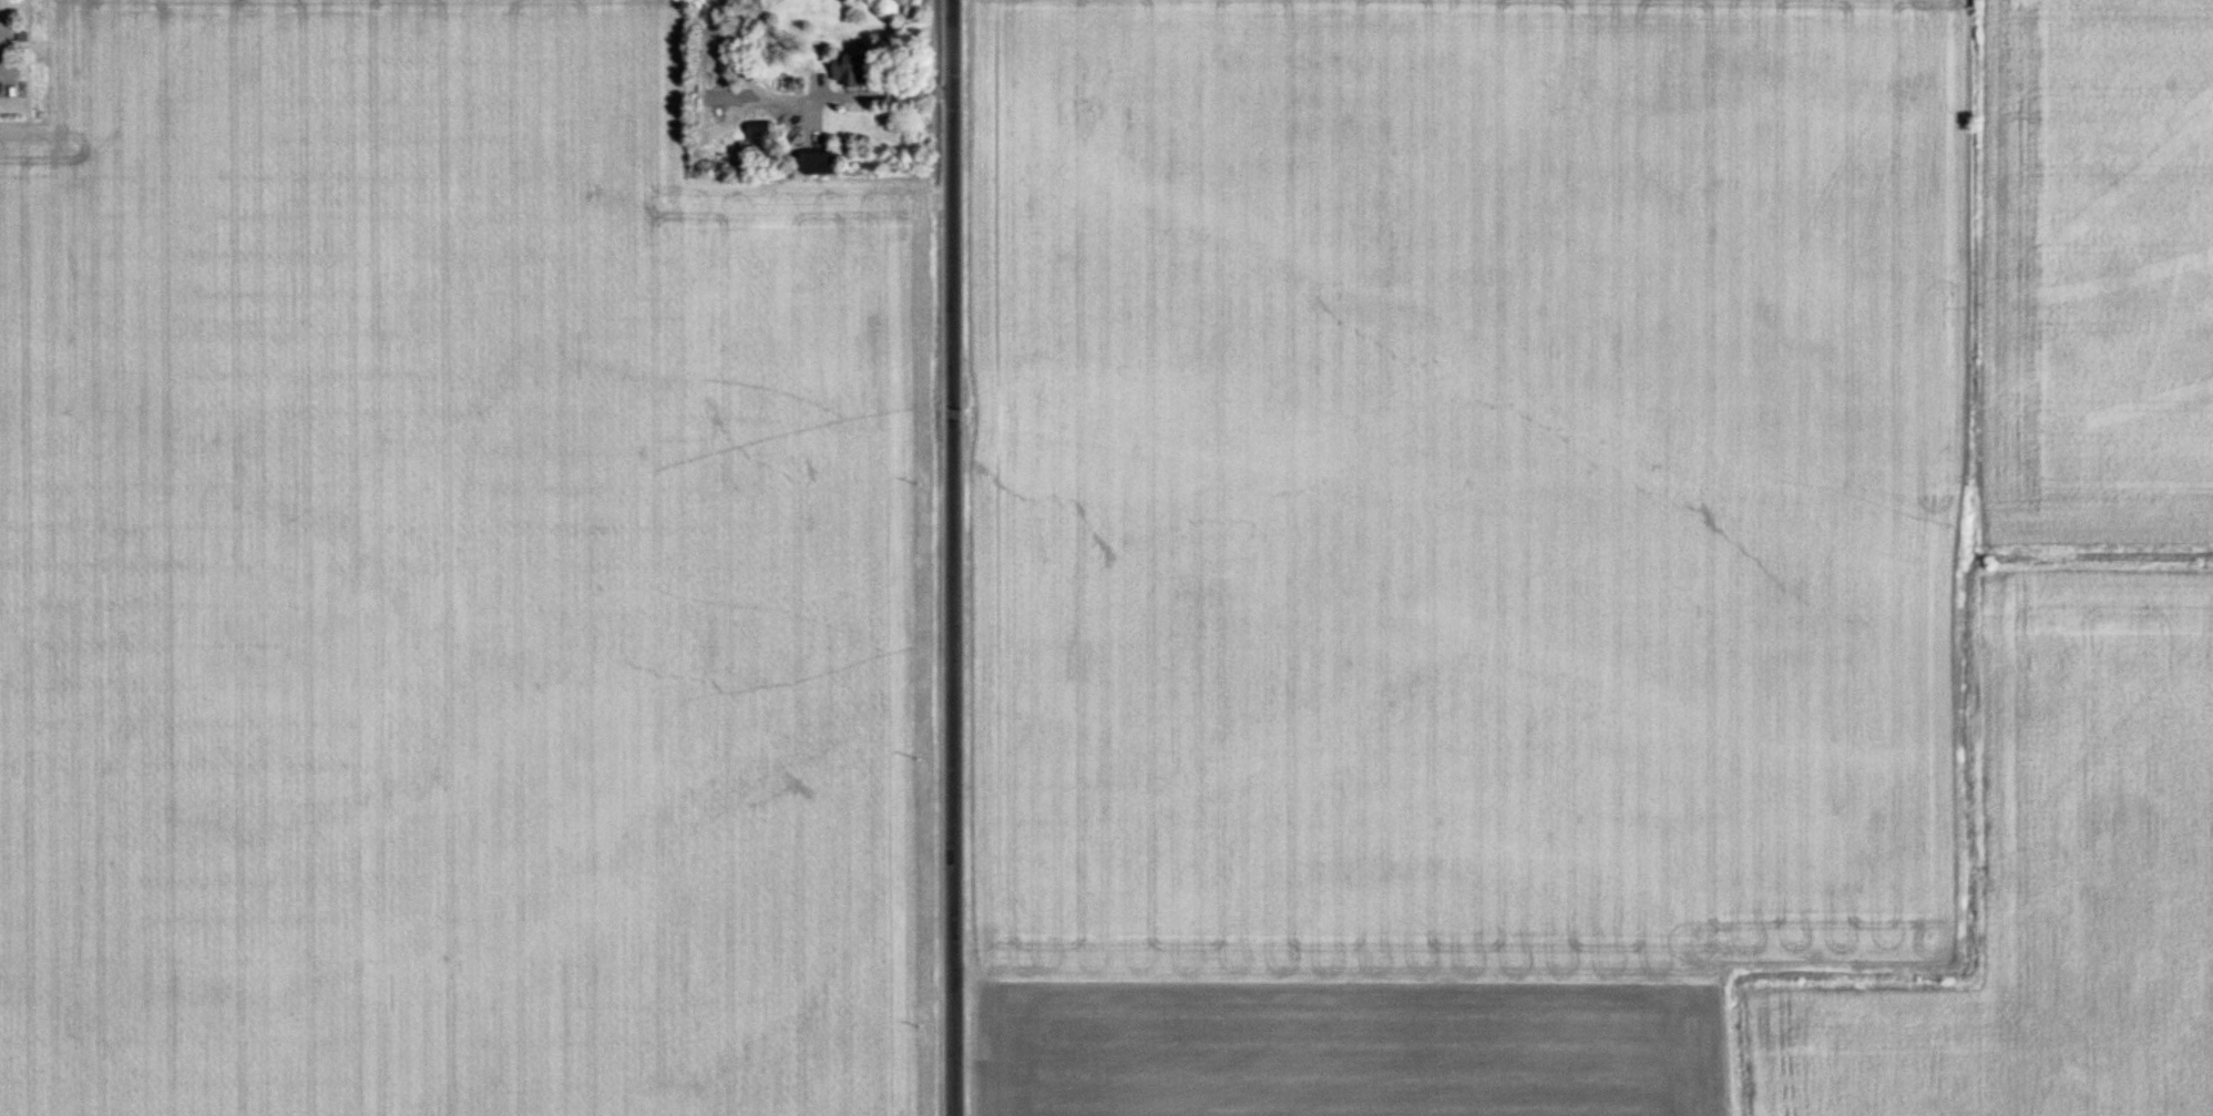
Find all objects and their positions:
building: (850, 69)
road: (809, 98)
building: (760, 134)
building: (818, 164)
road: (954, 557)

